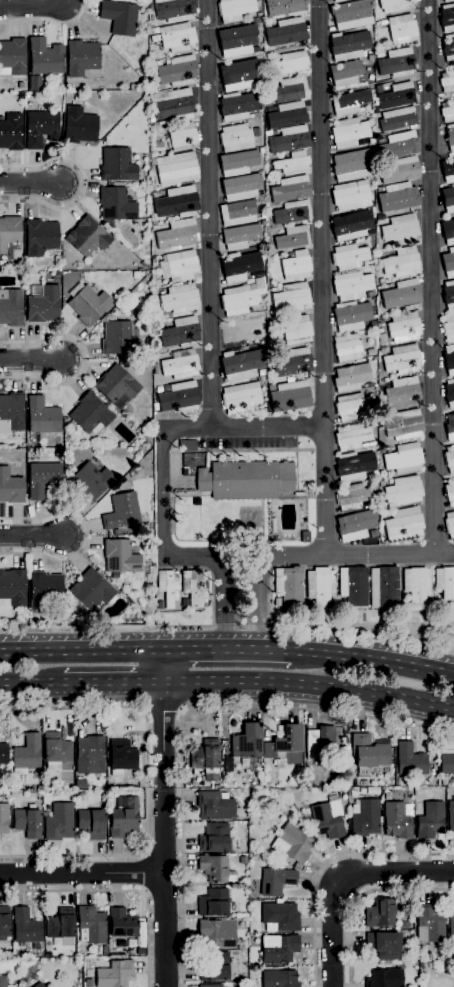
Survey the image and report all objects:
building: (338, 1)
building: (447, 1)
road: (34, 5)
building: (395, 5)
building: (285, 7)
building: (234, 9)
building: (175, 10)
building: (259, 15)
building: (120, 17)
building: (447, 18)
building: (347, 19)
road: (48, 22)
building: (402, 29)
building: (285, 32)
building: (177, 37)
building: (237, 40)
building: (349, 45)
building: (448, 48)
road: (263, 54)
building: (379, 55)
building: (12, 57)
building: (45, 57)
building: (82, 57)
building: (291, 63)
building: (396, 63)
building: (178, 71)
building: (346, 73)
building: (239, 75)
building: (447, 82)
building: (33, 83)
road: (374, 83)
building: (21, 85)
building: (133, 87)
building: (291, 89)
building: (396, 96)
building: (350, 102)
building: (173, 105)
building: (238, 106)
building: (447, 112)
building: (256, 115)
building: (287, 115)
building: (398, 119)
building: (79, 126)
building: (41, 128)
building: (11, 132)
building: (257, 132)
building: (349, 132)
building: (268, 133)
building: (183, 137)
building: (450, 137)
building: (236, 138)
building: (290, 139)
building: (400, 144)
building: (261, 150)
building: (293, 162)
building: (238, 163)
building: (117, 165)
building: (352, 165)
building: (176, 168)
building: (400, 170)
building: (448, 170)
road: (84, 183)
road: (32, 185)
building: (241, 187)
building: (291, 189)
building: (155, 195)
building: (351, 196)
building: (398, 197)
building: (448, 199)
building: (177, 203)
building: (117, 205)
building: (293, 212)
road: (209, 213)
building: (238, 213)
building: (351, 221)
building: (154, 228)
building: (401, 229)
building: (9, 231)
building: (448, 231)
building: (177, 235)
building: (240, 236)
building: (40, 237)
building: (87, 237)
building: (293, 237)
building: (349, 257)
building: (402, 262)
building: (2, 263)
building: (449, 263)
building: (180, 266)
building: (240, 266)
building: (296, 266)
road: (430, 276)
road: (321, 278)
building: (383, 281)
building: (352, 285)
building: (369, 294)
building: (449, 295)
building: (401, 297)
building: (292, 298)
building: (180, 299)
building: (239, 299)
building: (43, 304)
building: (88, 304)
building: (11, 308)
building: (351, 316)
building: (381, 321)
building: (272, 323)
building: (373, 325)
building: (404, 327)
building: (448, 328)
building: (297, 330)
building: (241, 331)
building: (181, 333)
building: (119, 339)
building: (347, 347)
building: (371, 352)
building: (380, 353)
road: (85, 359)
building: (288, 359)
building: (403, 359)
building: (449, 359)
road: (32, 360)
building: (181, 364)
building: (242, 365)
building: (352, 377)
building: (116, 384)
building: (159, 389)
building: (402, 391)
building: (449, 393)
building: (290, 396)
building: (180, 397)
building: (241, 398)
building: (352, 406)
building: (12, 412)
building: (90, 414)
building: (42, 416)
building: (404, 425)
building: (450, 426)
road: (267, 427)
building: (352, 436)
building: (368, 444)
building: (187, 445)
building: (388, 450)
building: (381, 451)
building: (404, 458)
building: (449, 458)
building: (354, 466)
building: (185, 472)
building: (43, 479)
building: (246, 480)
building: (91, 482)
building: (381, 483)
building: (11, 488)
building: (403, 491)
building: (449, 492)
building: (352, 497)
road: (163, 498)
building: (122, 511)
building: (382, 515)
building: (145, 517)
building: (403, 524)
building: (273, 525)
building: (355, 525)
building: (450, 525)
building: (115, 532)
road: (88, 535)
road: (33, 536)
building: (305, 536)
road: (339, 555)
building: (120, 557)
building: (445, 582)
building: (416, 585)
building: (195, 586)
building: (289, 586)
building: (321, 586)
building: (353, 586)
building: (168, 587)
building: (384, 587)
building: (43, 588)
building: (12, 589)
building: (91, 591)
road: (224, 603)
road: (258, 603)
road: (227, 626)
road: (231, 650)
road: (83, 651)
road: (375, 661)
road: (166, 667)
road: (311, 683)
road: (117, 685)
road: (34, 686)
road: (162, 710)
road: (182, 711)
building: (247, 742)
building: (320, 743)
building: (286, 745)
building: (56, 750)
building: (3, 754)
building: (26, 754)
building: (90, 755)
building: (367, 755)
building: (121, 757)
building: (206, 759)
building: (410, 760)
building: (447, 763)
building: (227, 764)
building: (297, 780)
road: (146, 781)
building: (131, 783)
building: (363, 783)
building: (201, 784)
building: (216, 786)
building: (7, 787)
building: (387, 796)
building: (215, 805)
building: (4, 818)
building: (365, 818)
building: (451, 818)
building: (124, 819)
building: (328, 819)
building: (398, 819)
building: (430, 819)
building: (28, 822)
building: (59, 822)
building: (92, 822)
road: (165, 835)
building: (215, 838)
building: (291, 843)
road: (325, 861)
building: (216, 869)
road: (144, 872)
road: (82, 873)
road: (343, 878)
building: (276, 881)
road: (119, 893)
road: (361, 896)
building: (214, 902)
building: (380, 913)
building: (280, 917)
building: (4, 922)
building: (430, 923)
building: (122, 924)
building: (405, 924)
building: (91, 925)
building: (61, 926)
building: (451, 926)
building: (26, 928)
building: (217, 933)
building: (384, 945)
building: (279, 948)
building: (105, 951)
building: (214, 966)
building: (114, 974)
building: (384, 978)
building: (280, 979)
building: (4, 981)
building: (38, 985)
building: (211, 985)

